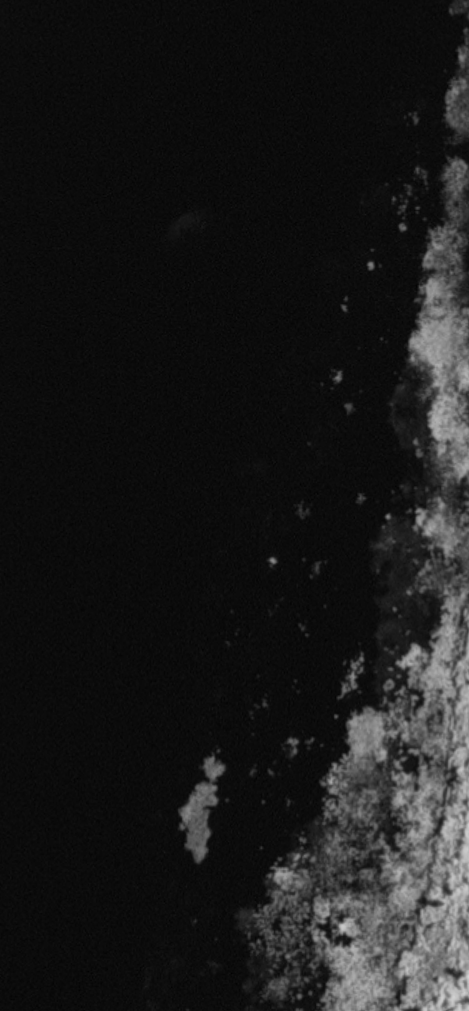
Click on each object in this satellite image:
airport: (455, 163)
river: (136, 507)
airport: (437, 802)

